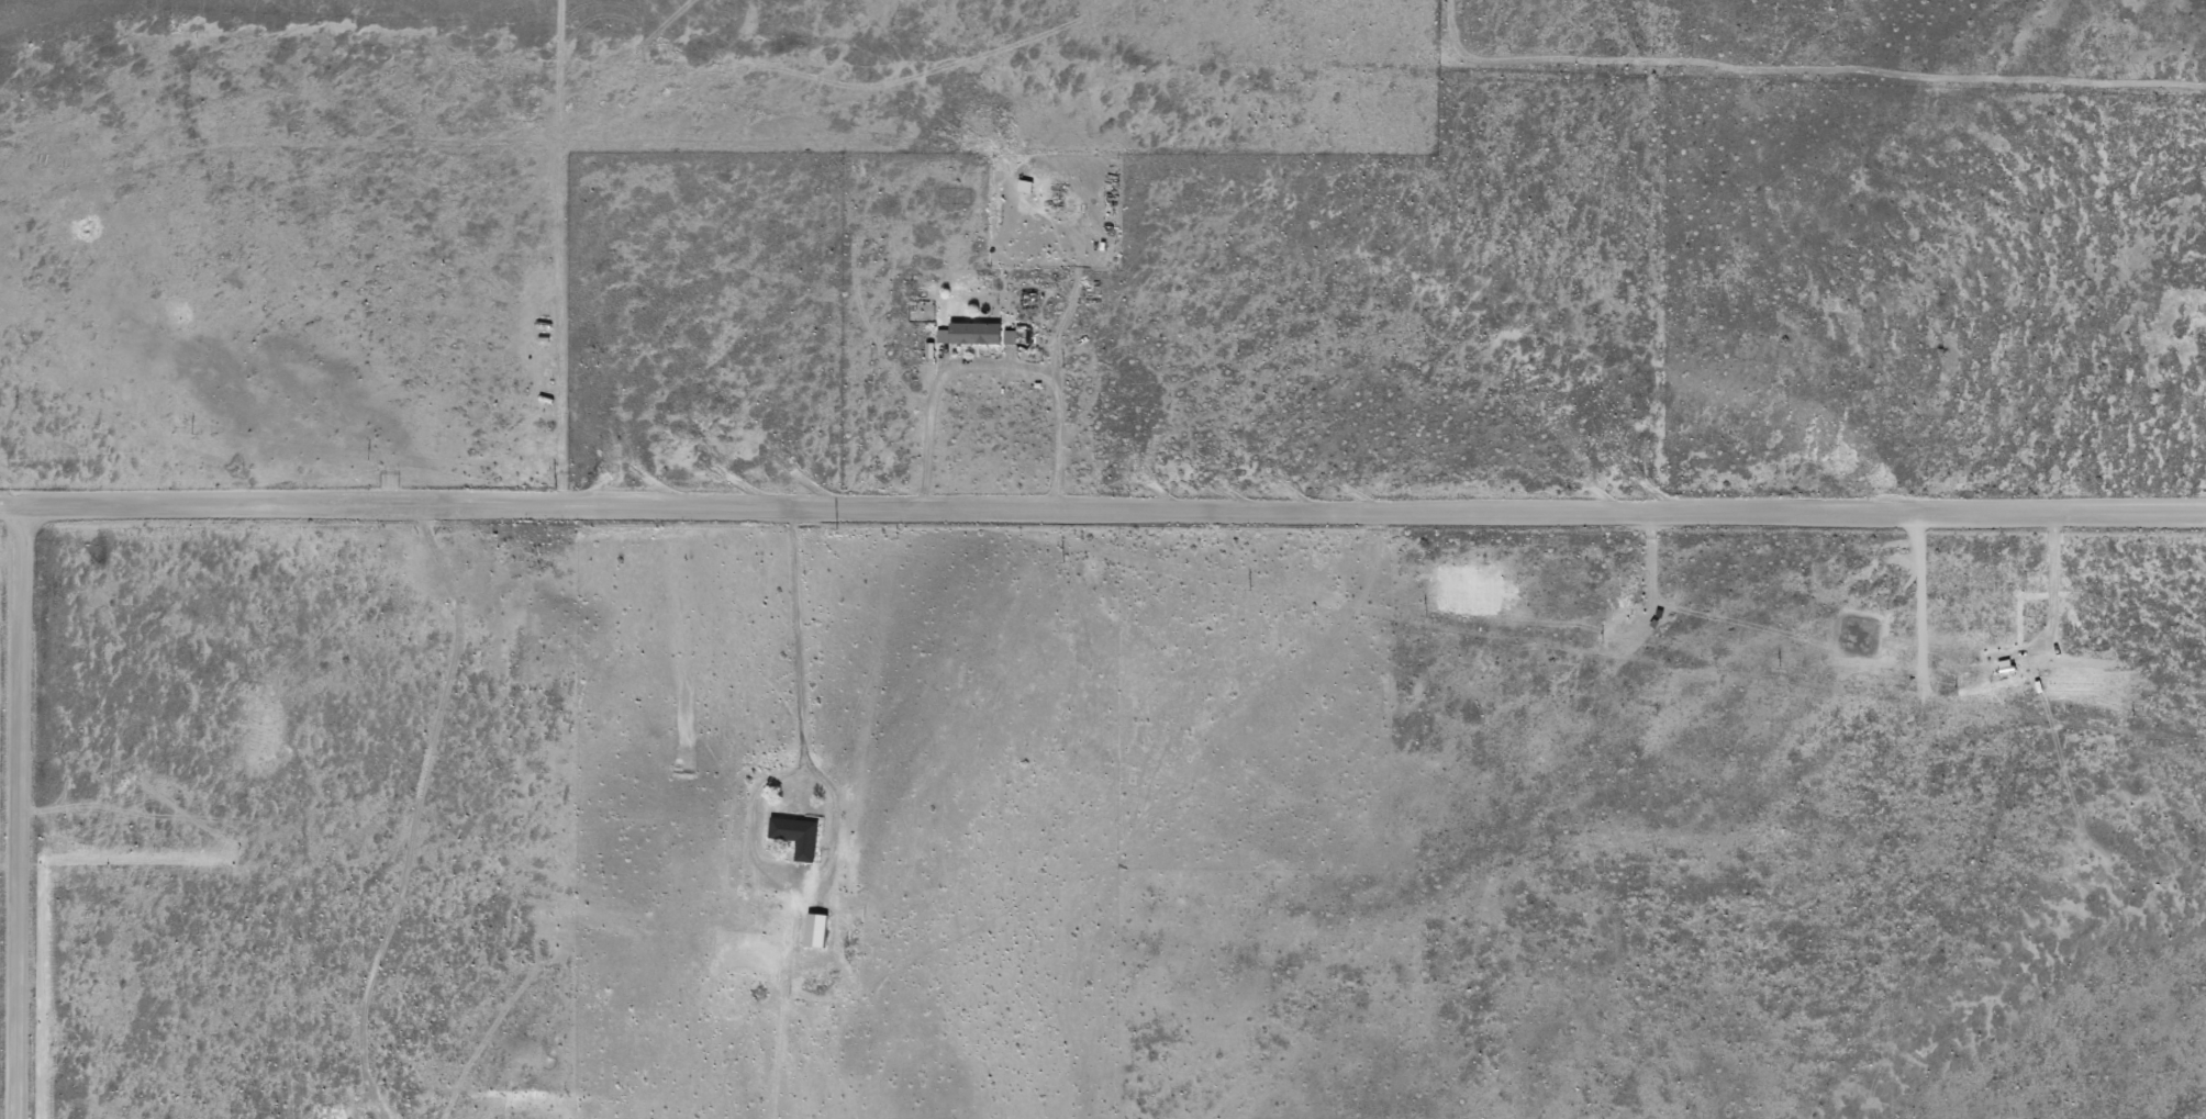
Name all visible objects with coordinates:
building: (1025, 189)
building: (974, 335)
road: (992, 371)
road: (1102, 511)
road: (829, 793)
road: (1854, 815)
building: (799, 838)
building: (817, 932)

